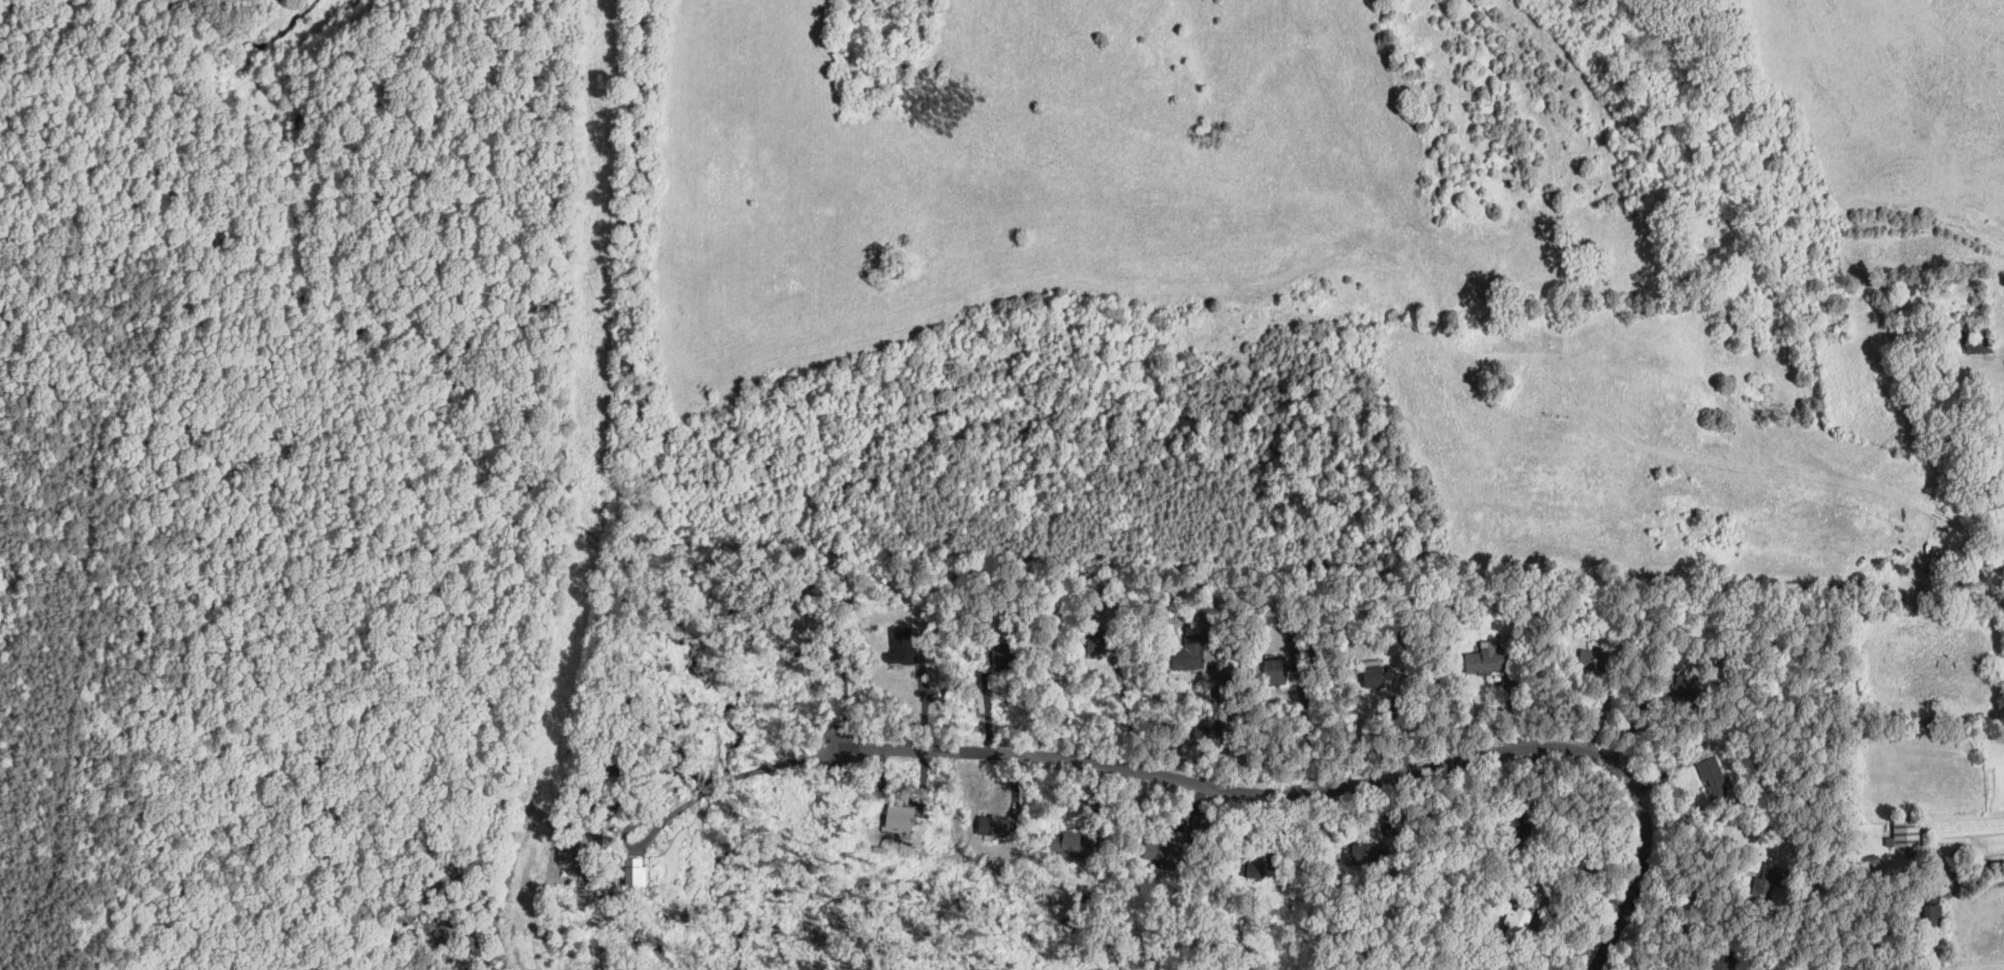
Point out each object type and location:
building: (1979, 346)
building: (902, 641)
building: (1187, 656)
building: (1485, 657)
building: (1373, 675)
road: (848, 694)
road: (1127, 709)
road: (1217, 728)
building: (617, 752)
road: (793, 761)
road: (669, 773)
building: (1712, 775)
road: (728, 780)
road: (1353, 783)
building: (607, 793)
road: (647, 821)
building: (900, 824)
building: (994, 824)
building: (1905, 832)
building: (634, 871)
road: (1973, 872)
building: (1932, 909)
building: (1519, 916)
road: (1664, 930)

